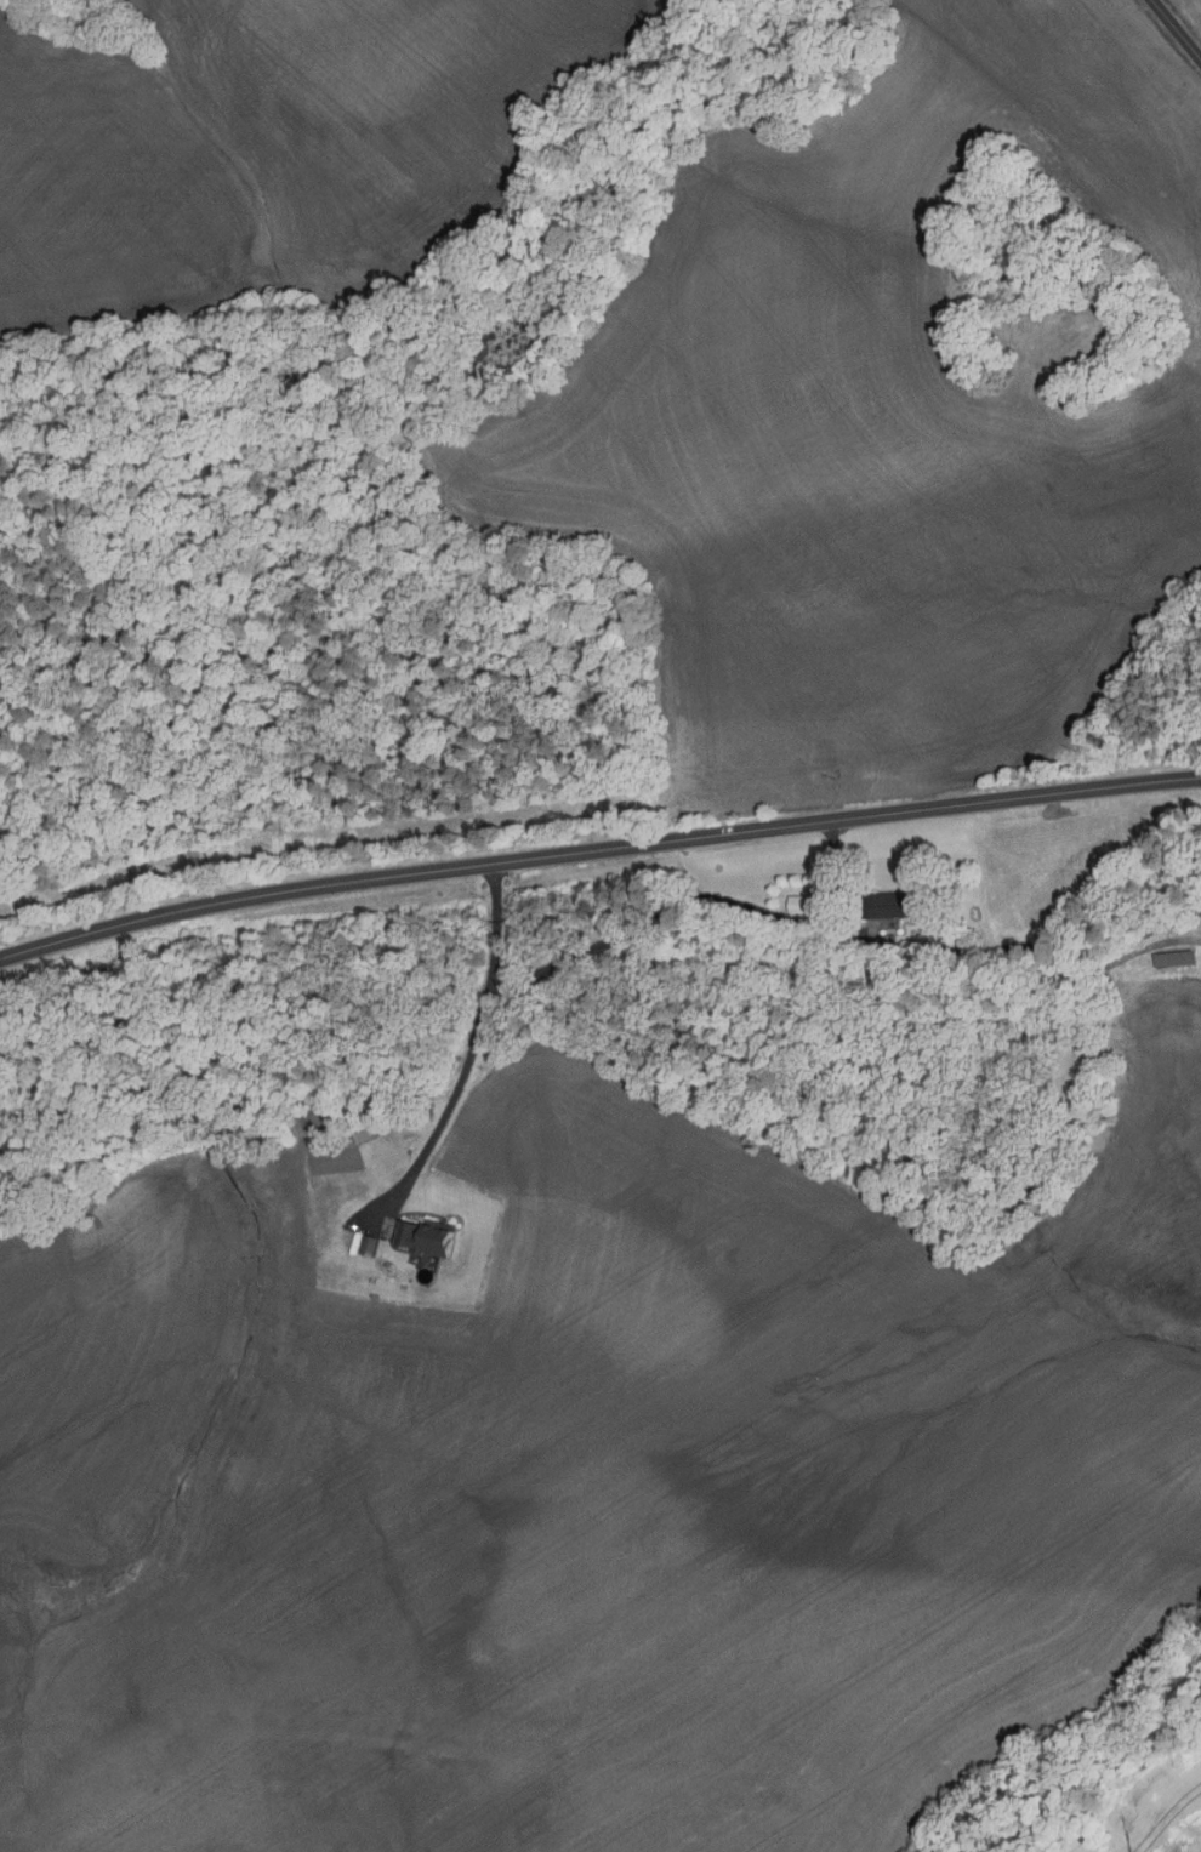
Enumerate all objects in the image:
crop: (1190, 12)
road: (1176, 29)
crop: (268, 148)
crop: (889, 410)
road: (596, 848)
road: (833, 878)
building: (801, 901)
building: (894, 904)
building: (1173, 956)
road: (471, 1054)
building: (362, 1135)
building: (426, 1236)
building: (369, 1244)
crop: (591, 1488)
crop: (1144, 1810)

